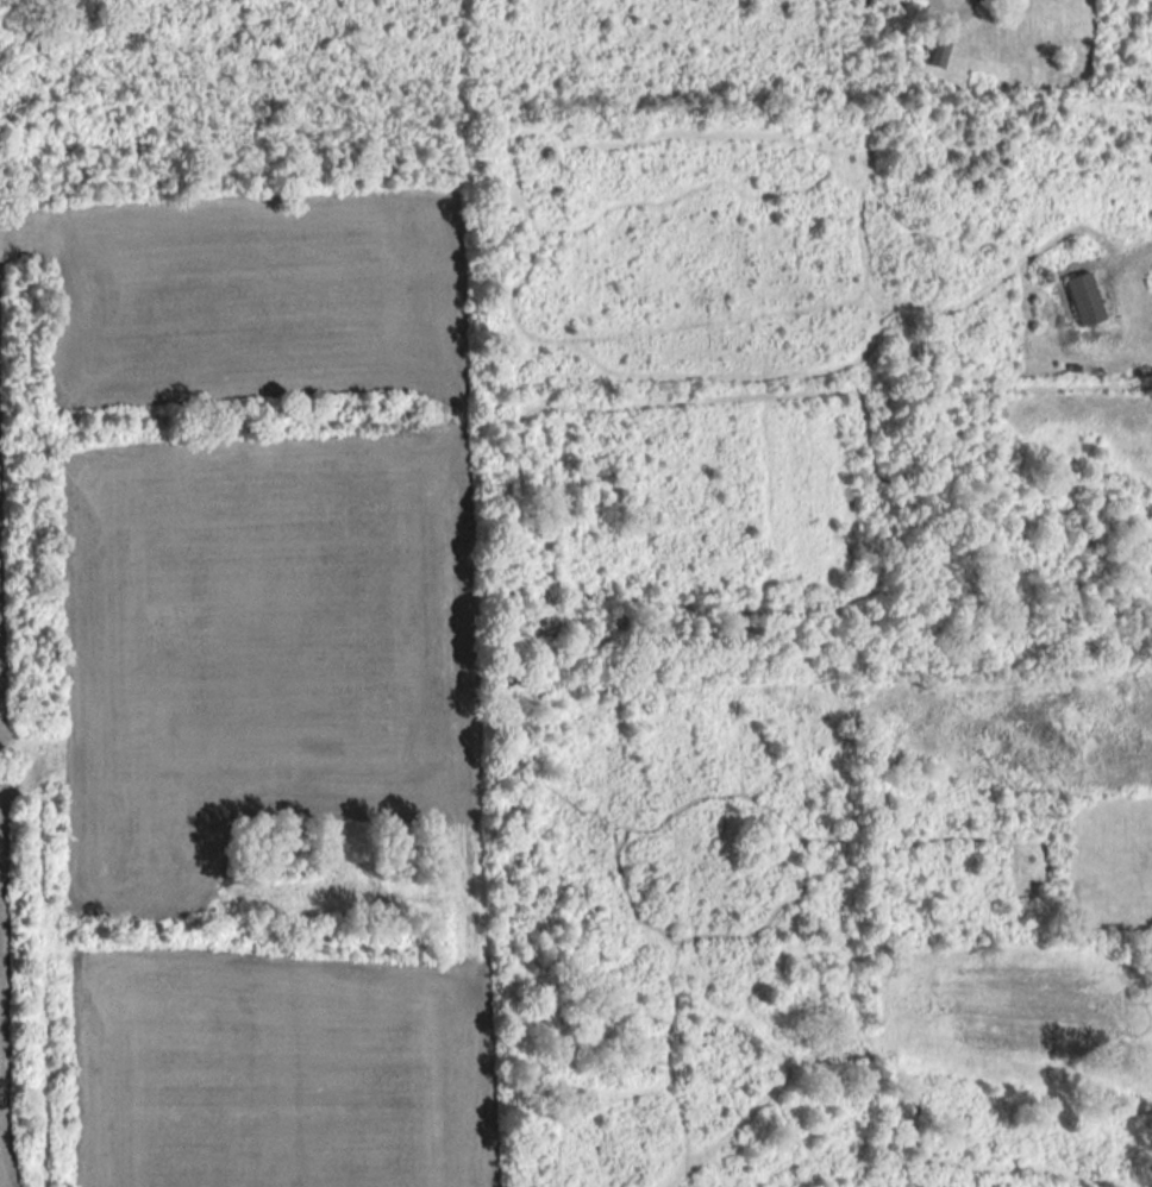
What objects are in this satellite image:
road: (954, 15)
building: (939, 54)
building: (1083, 299)
crop: (5, 586)
crop: (268, 679)
crop: (6, 1007)

